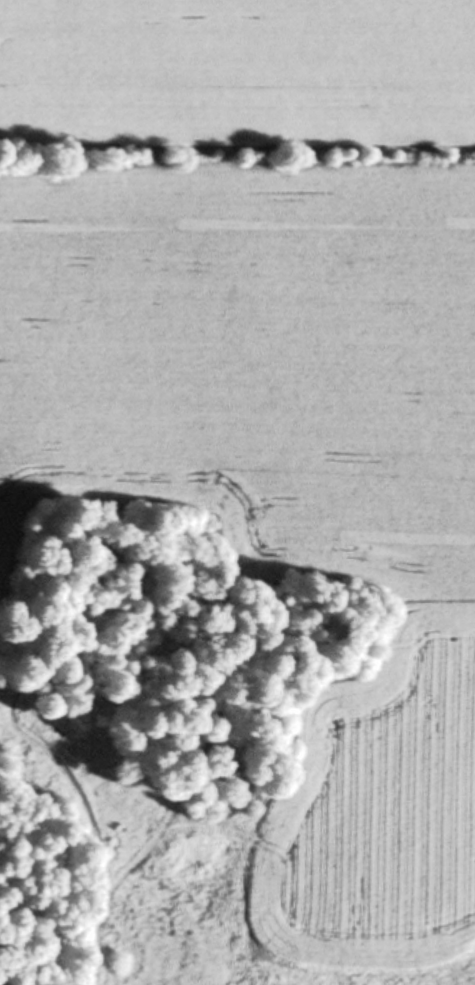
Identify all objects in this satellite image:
crop: (268, 383)

